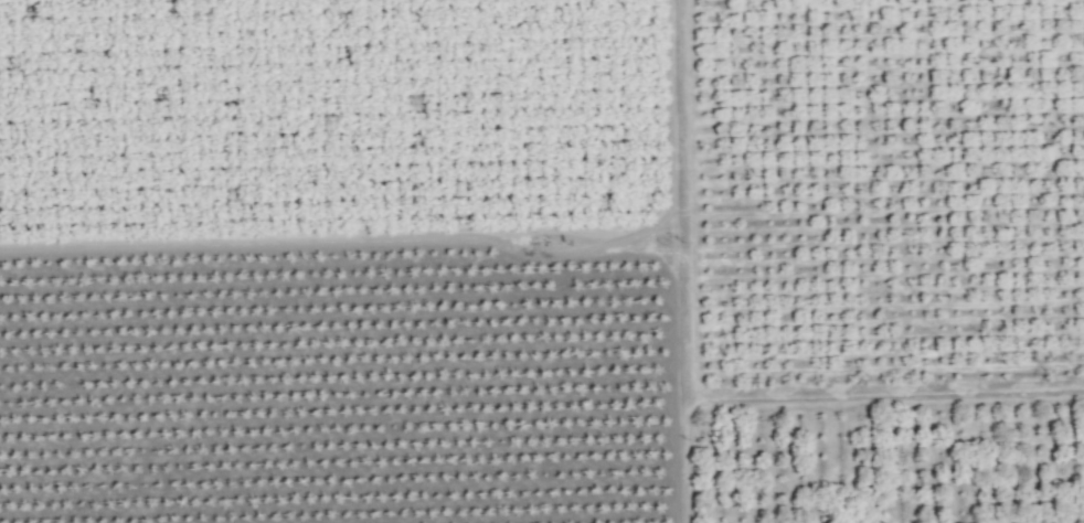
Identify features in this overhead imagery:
wastewater plant: (542, 170)

